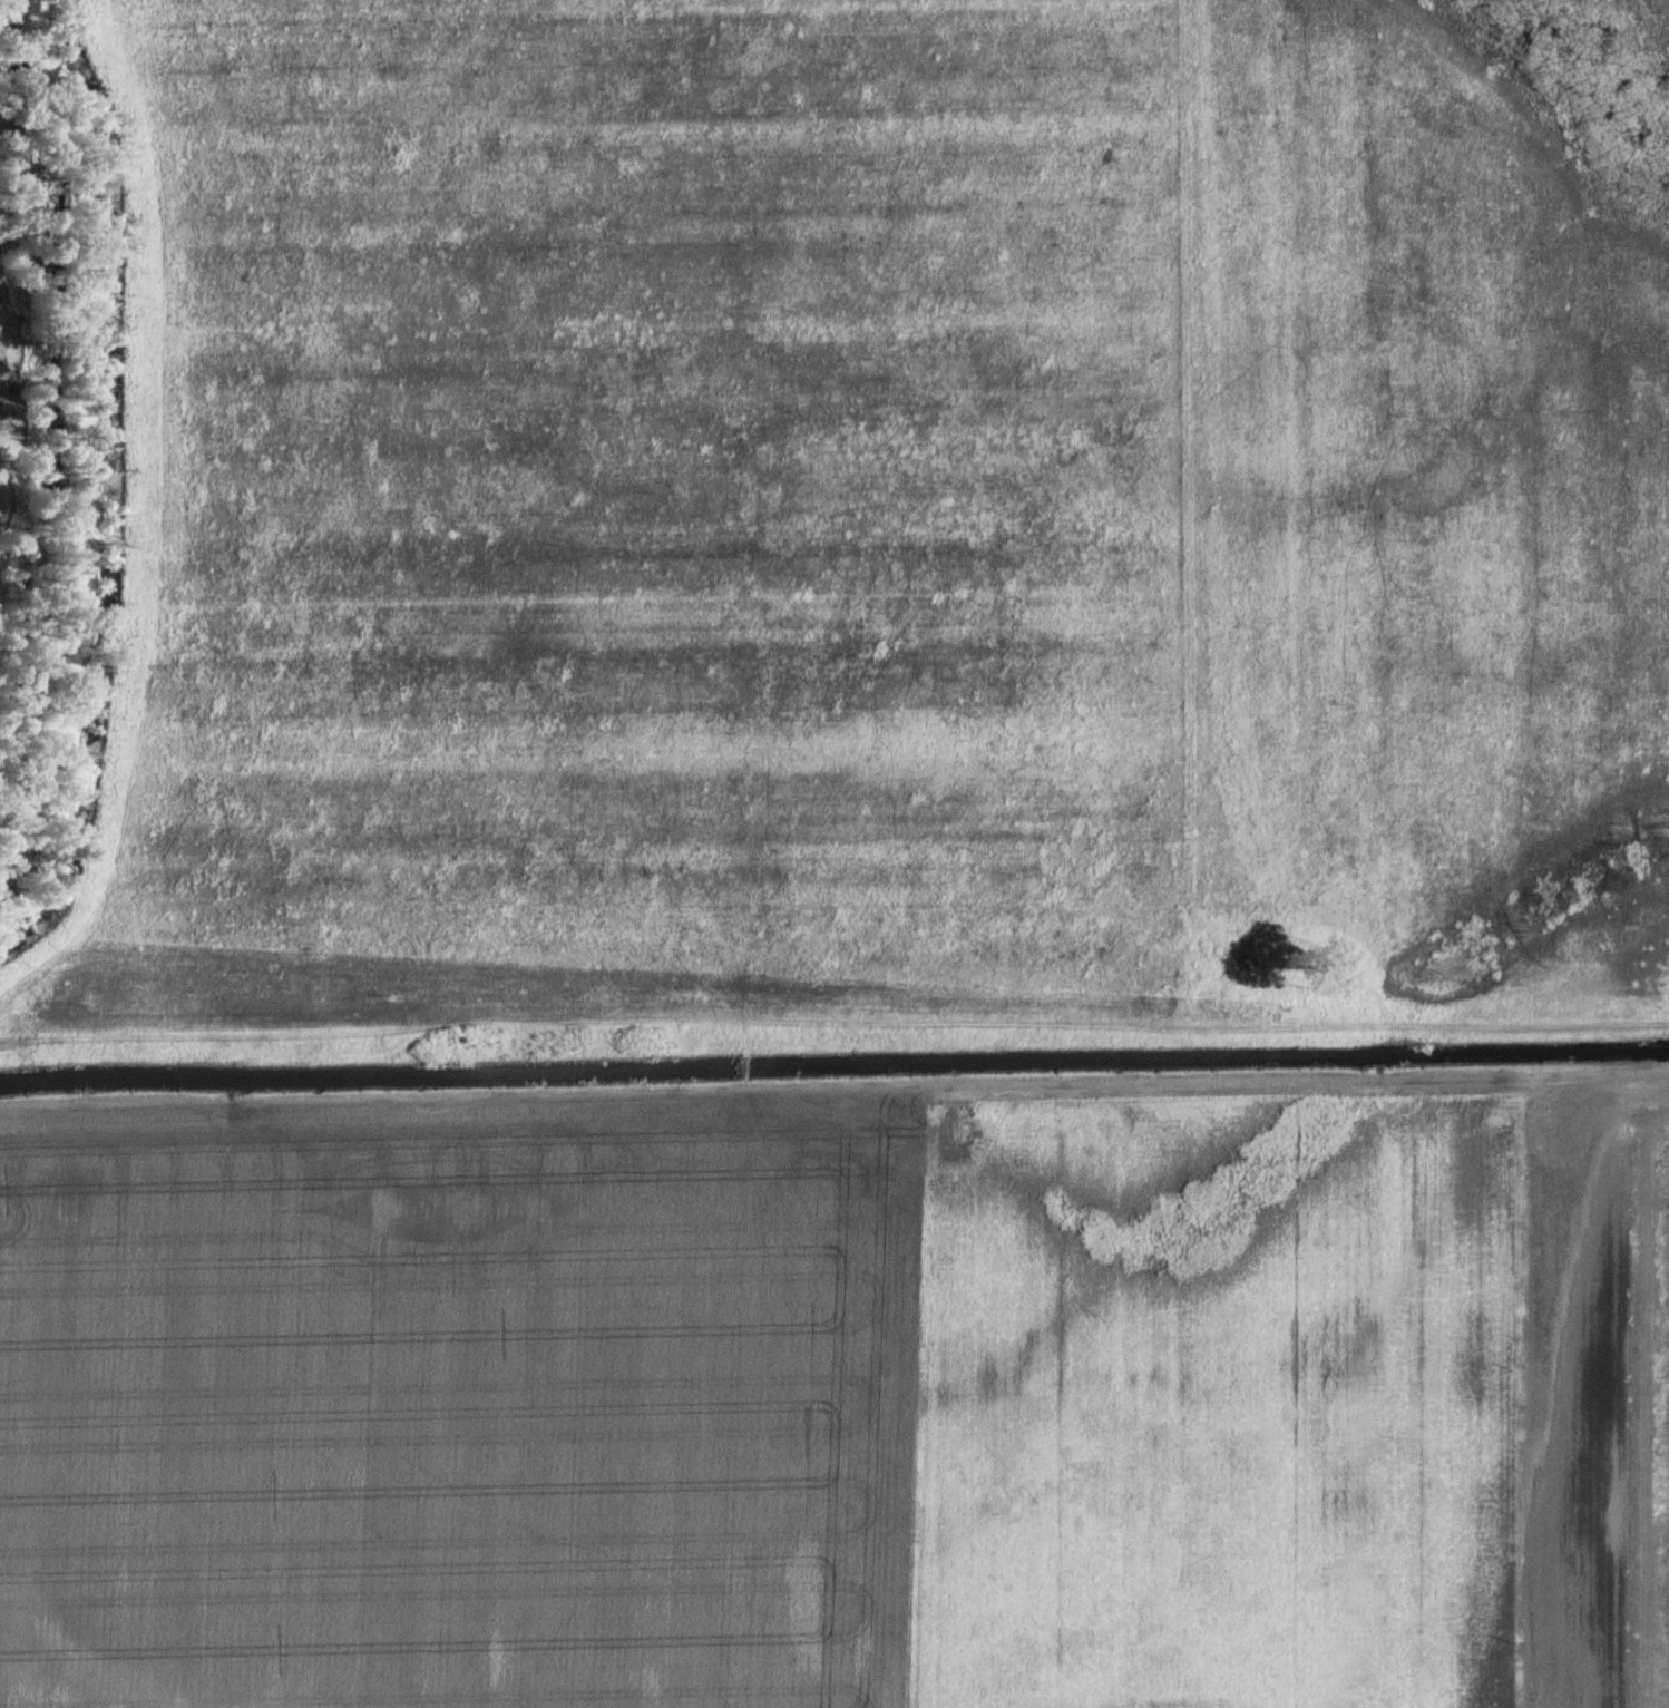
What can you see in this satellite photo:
road: (1193, 715)
road: (833, 1089)

